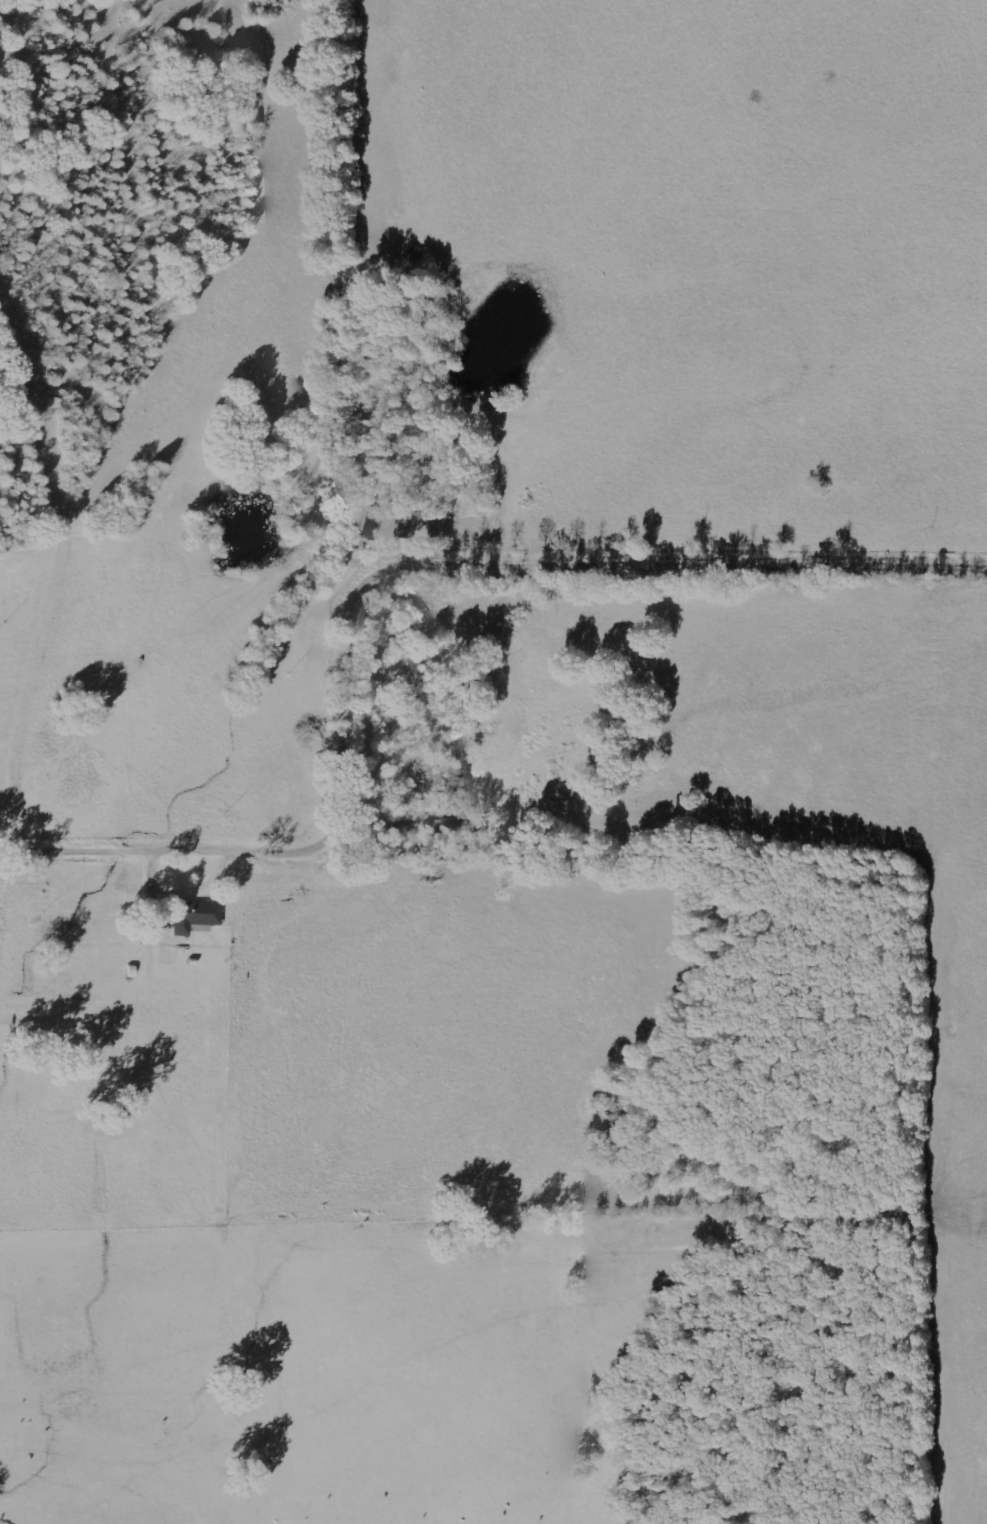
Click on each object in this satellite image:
road: (380, 579)
building: (193, 918)

